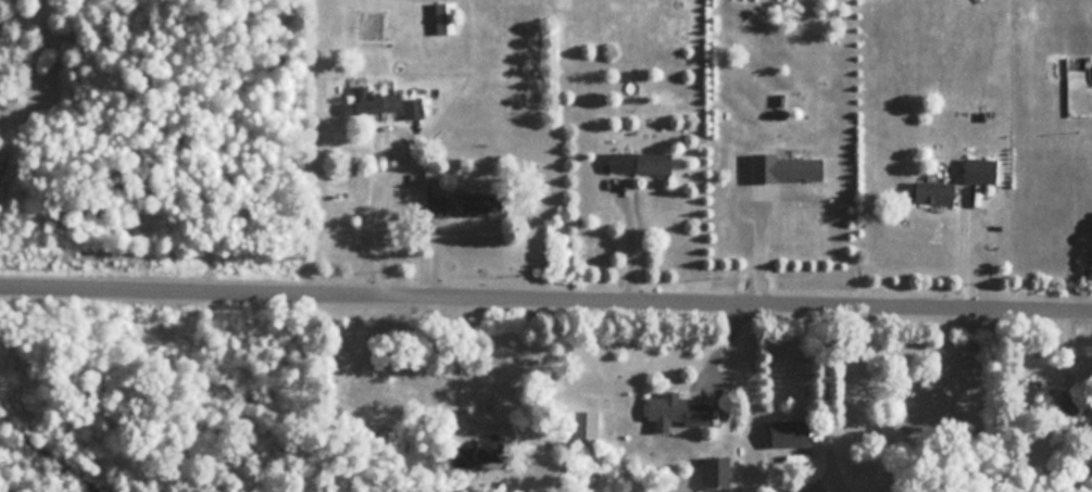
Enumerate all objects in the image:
building: (447, 16)
building: (367, 99)
building: (640, 162)
building: (800, 167)
building: (981, 168)
building: (936, 190)
building: (478, 202)
road: (375, 213)
road: (967, 252)
road: (545, 300)
building: (678, 411)
building: (587, 427)
building: (790, 432)
building: (715, 477)

